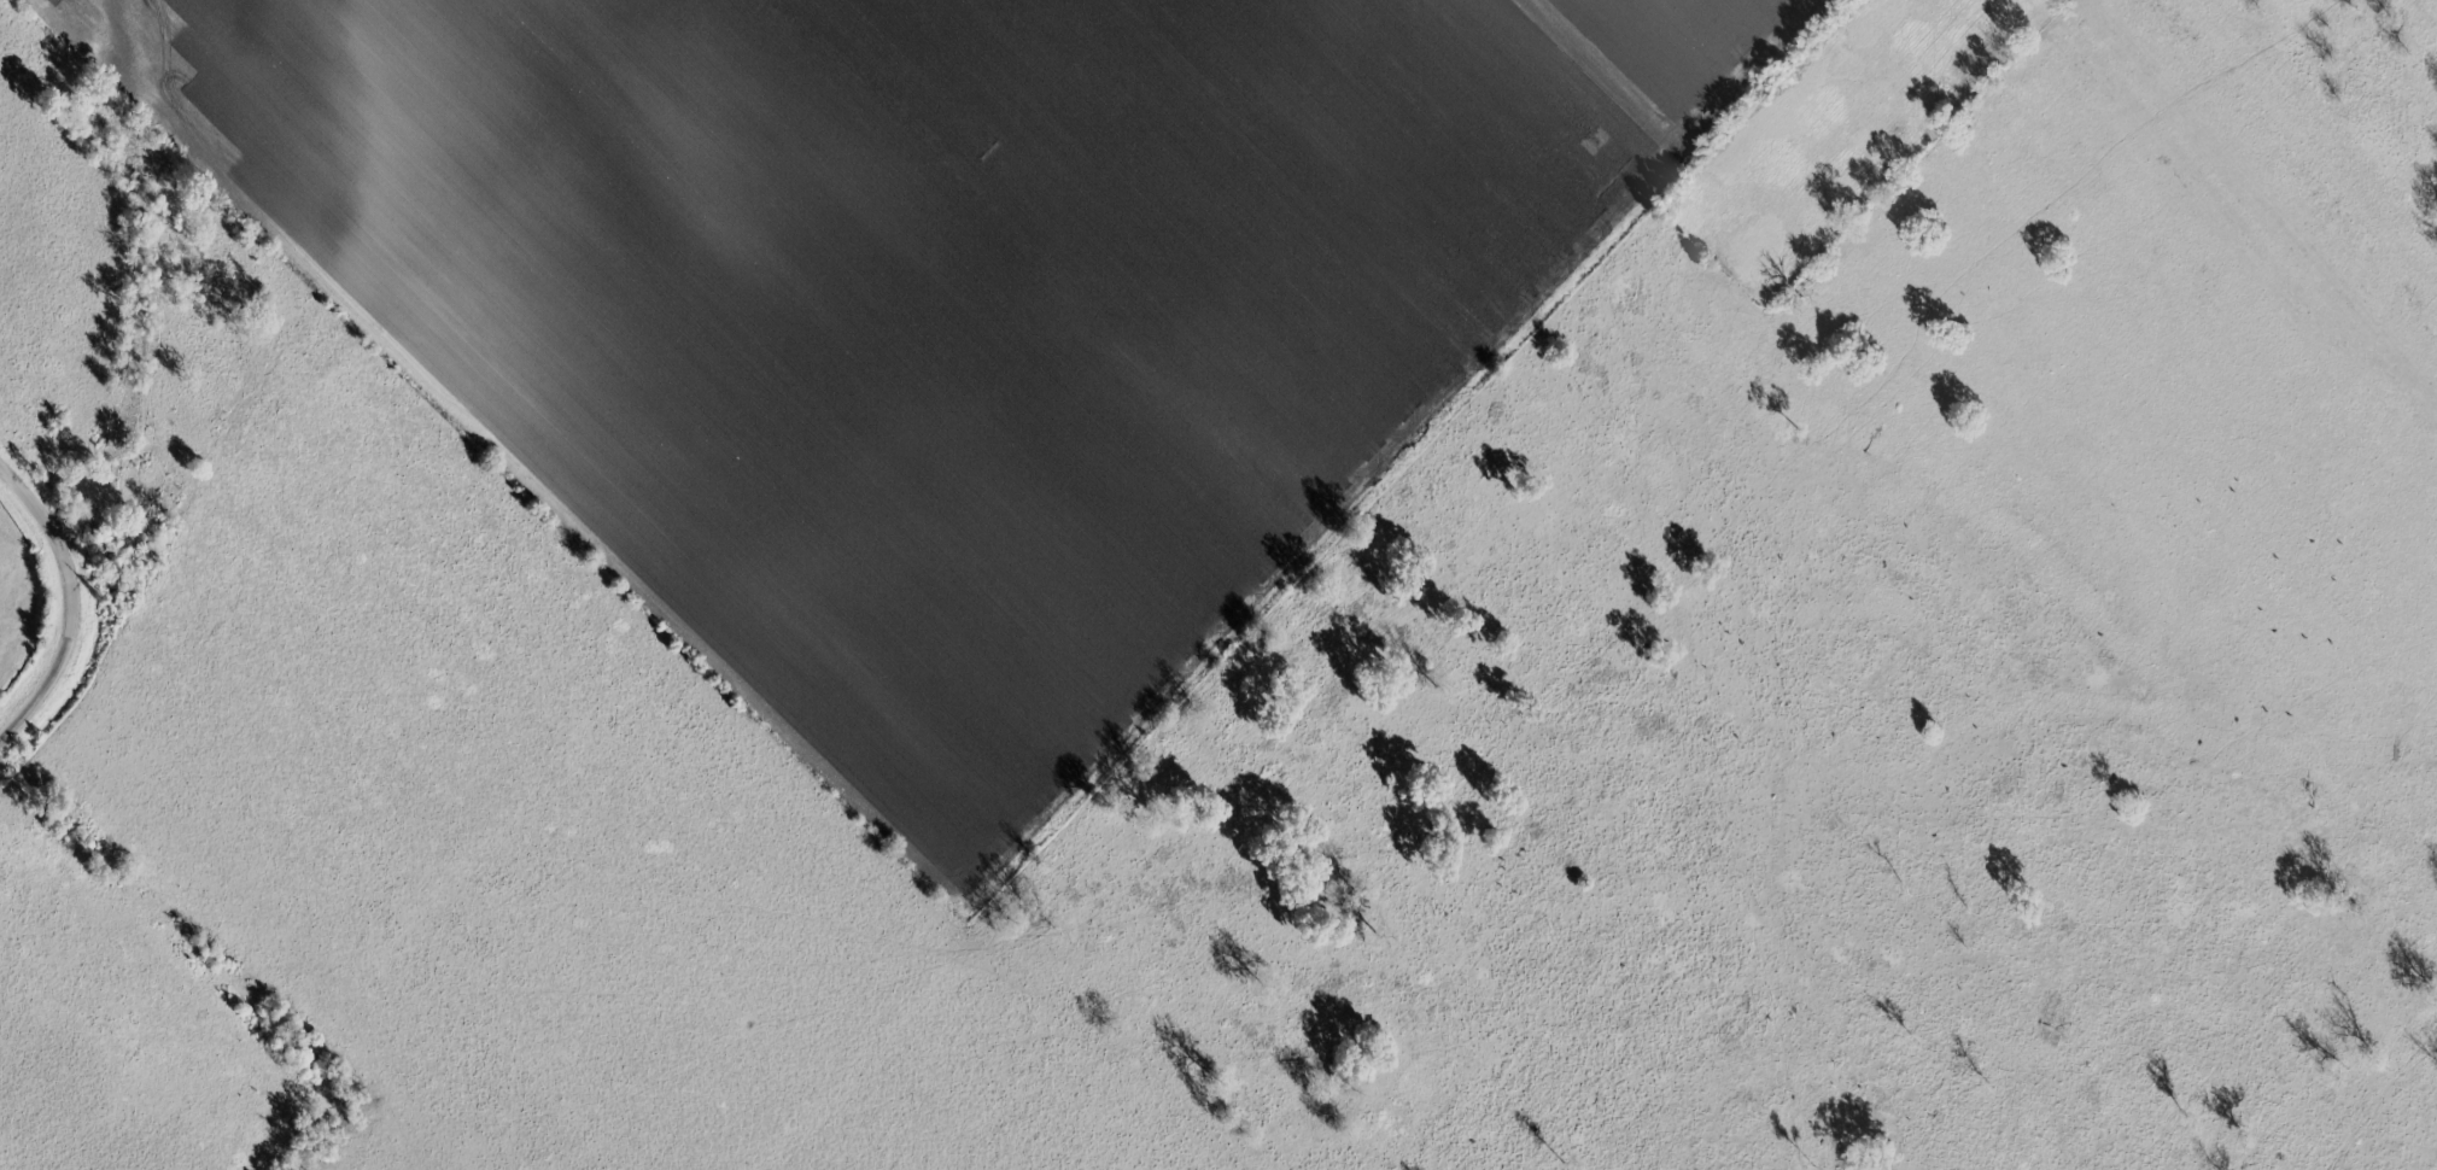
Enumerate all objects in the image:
road: (64, 603)

